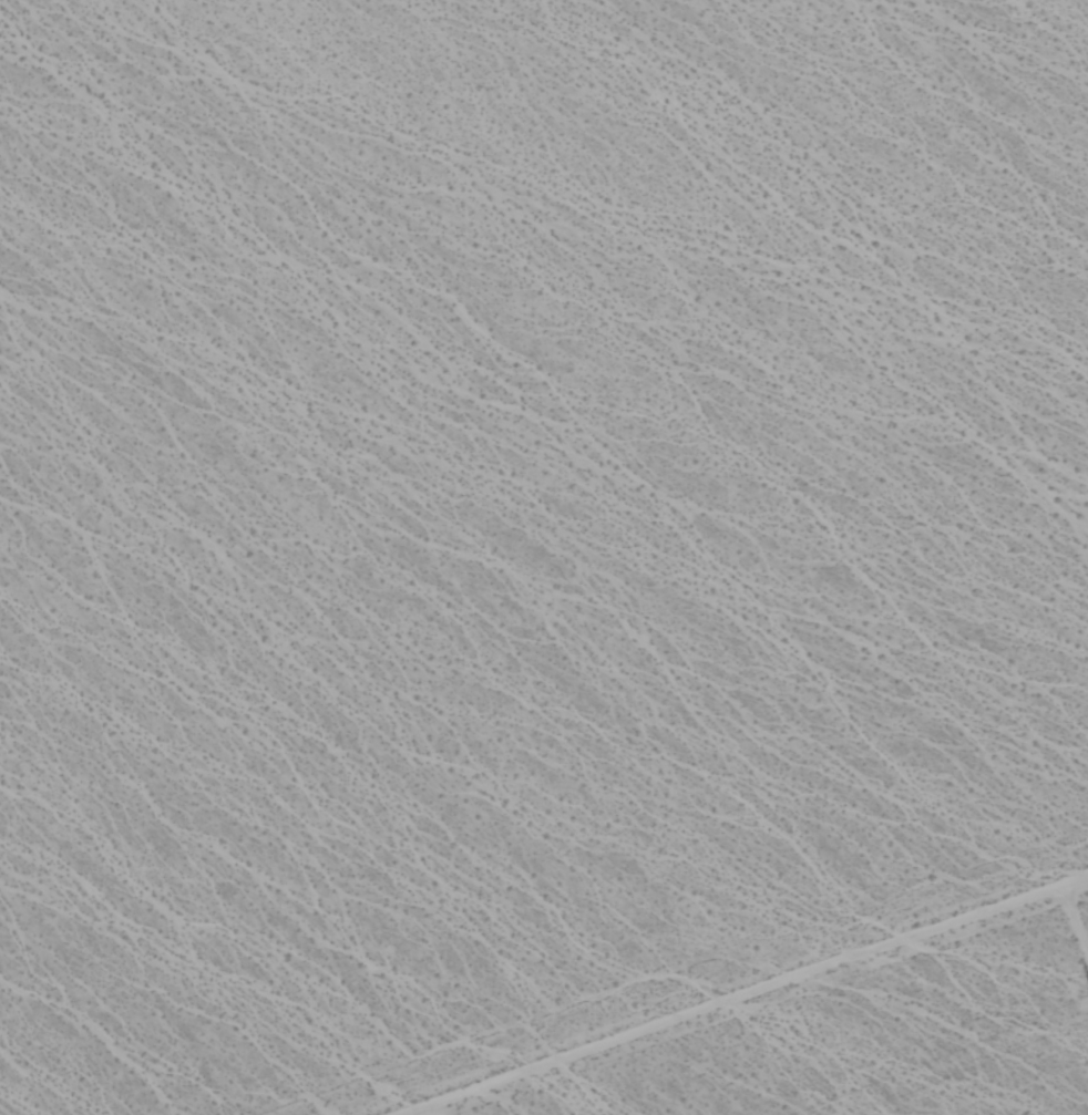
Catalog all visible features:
road: (696, 980)

